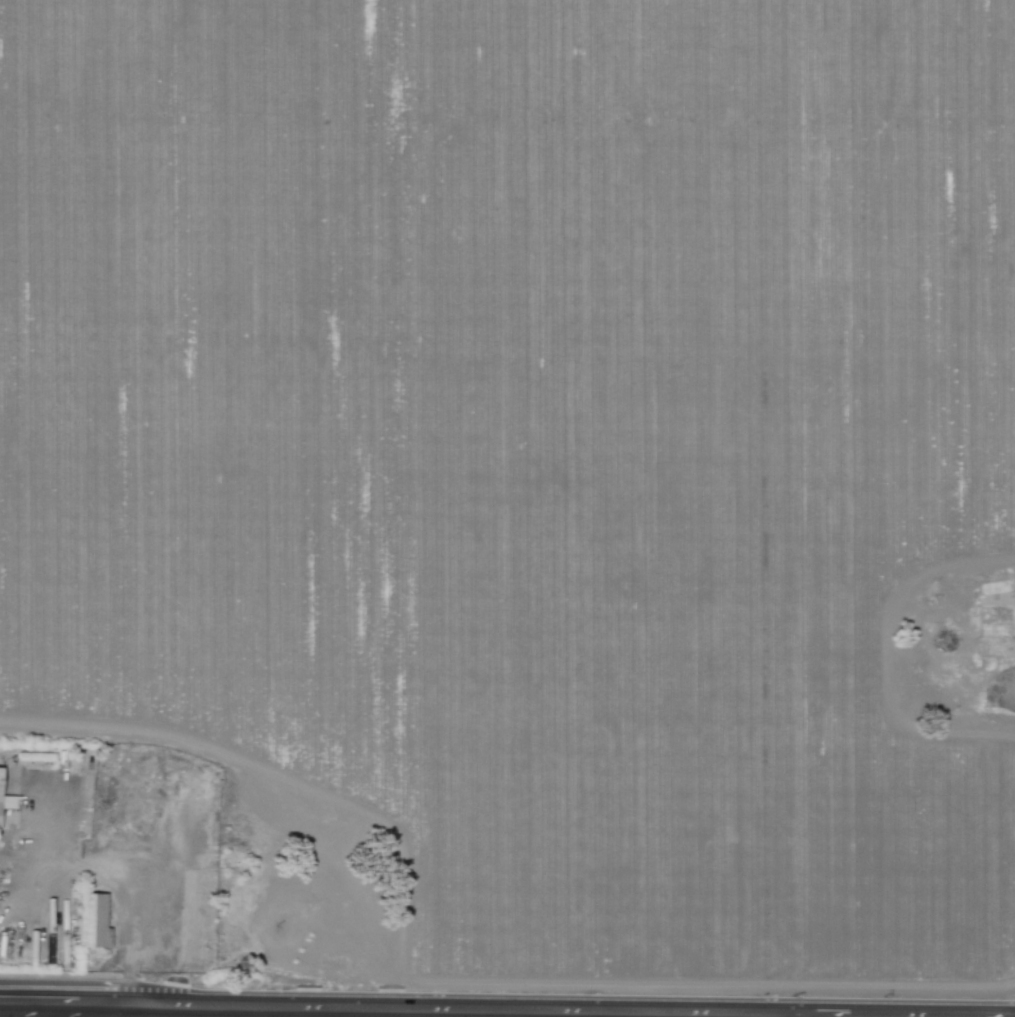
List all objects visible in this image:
crop: (529, 444)
building: (994, 622)
road: (1003, 687)
building: (35, 756)
building: (0, 767)
building: (7, 802)
building: (92, 921)
road: (399, 939)
road: (40, 1009)
road: (507, 1009)
road: (176, 1010)
road: (300, 1012)
road: (377, 1012)
road: (330, 1013)
road: (408, 1013)
road: (503, 1013)
road: (579, 1014)
road: (796, 1015)
road: (914, 1016)

